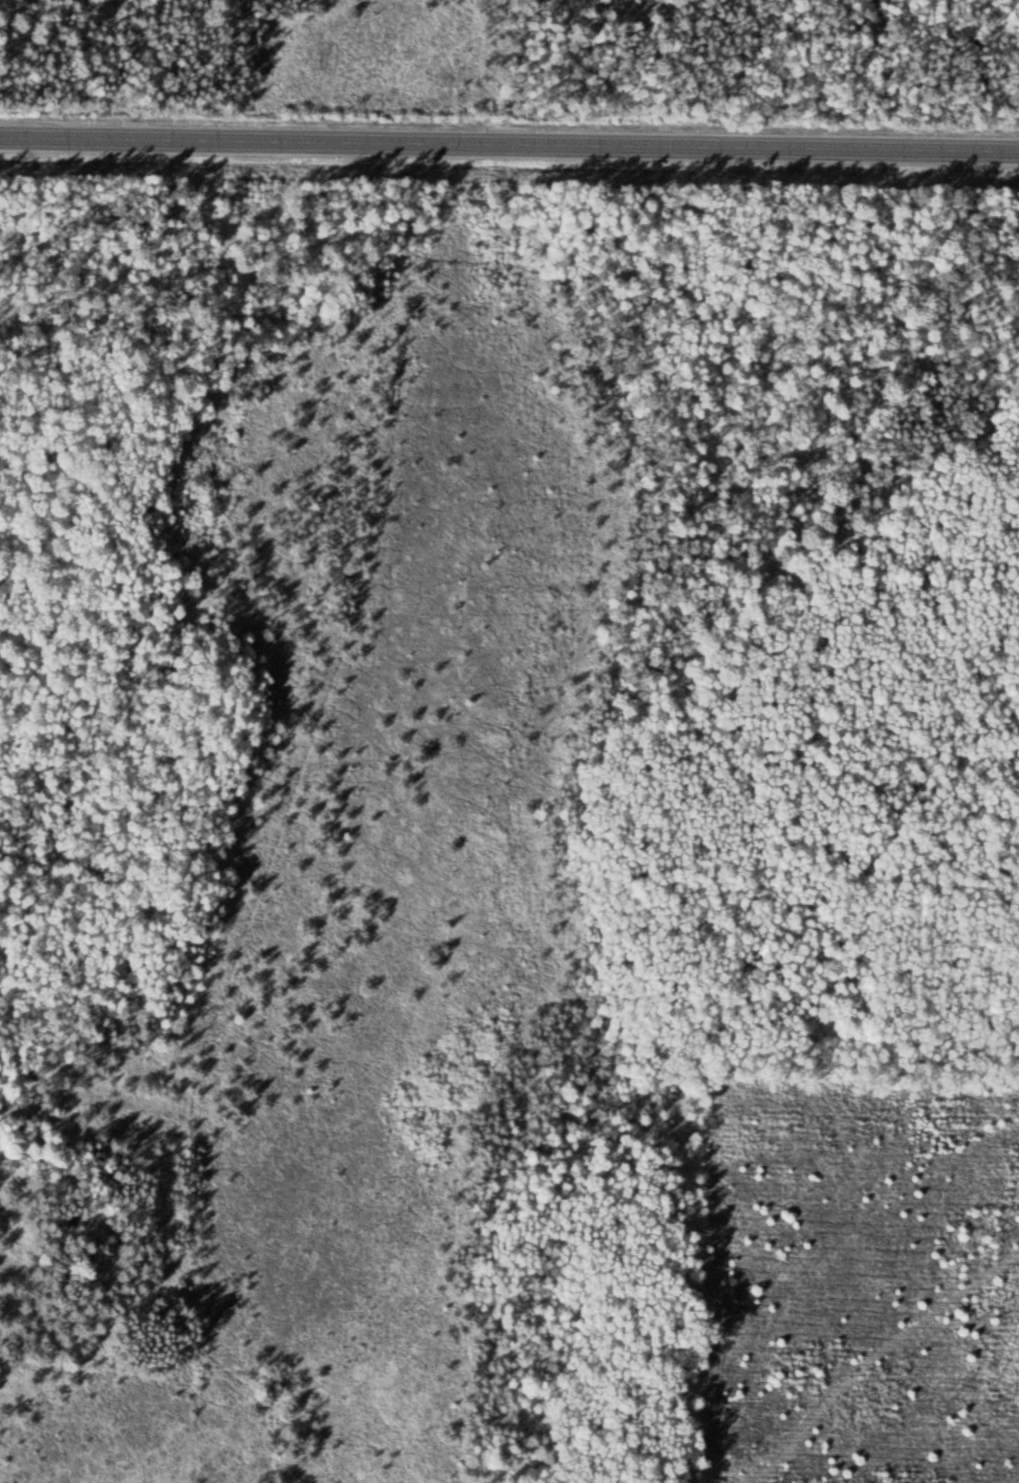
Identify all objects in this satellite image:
road: (509, 145)

